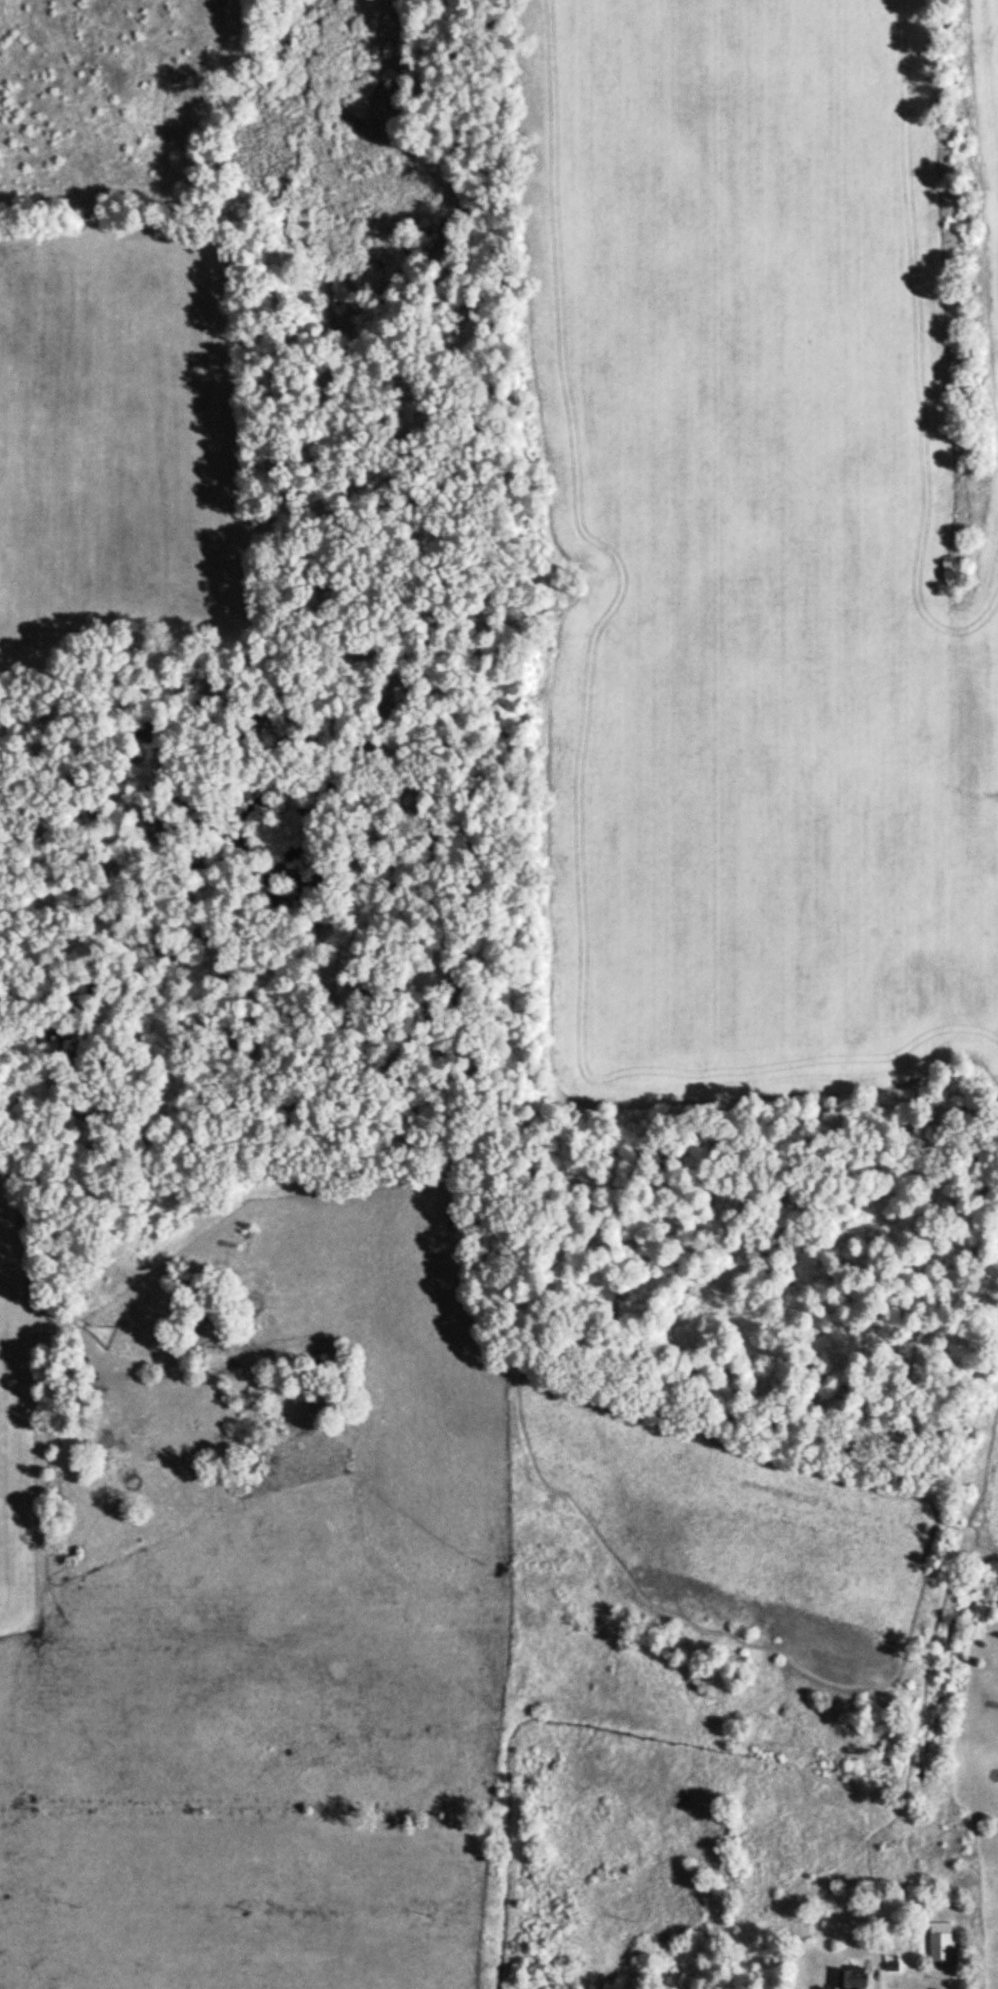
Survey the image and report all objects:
crop: (118, 440)
crop: (755, 557)
crop: (9, 1450)
building: (954, 1940)

